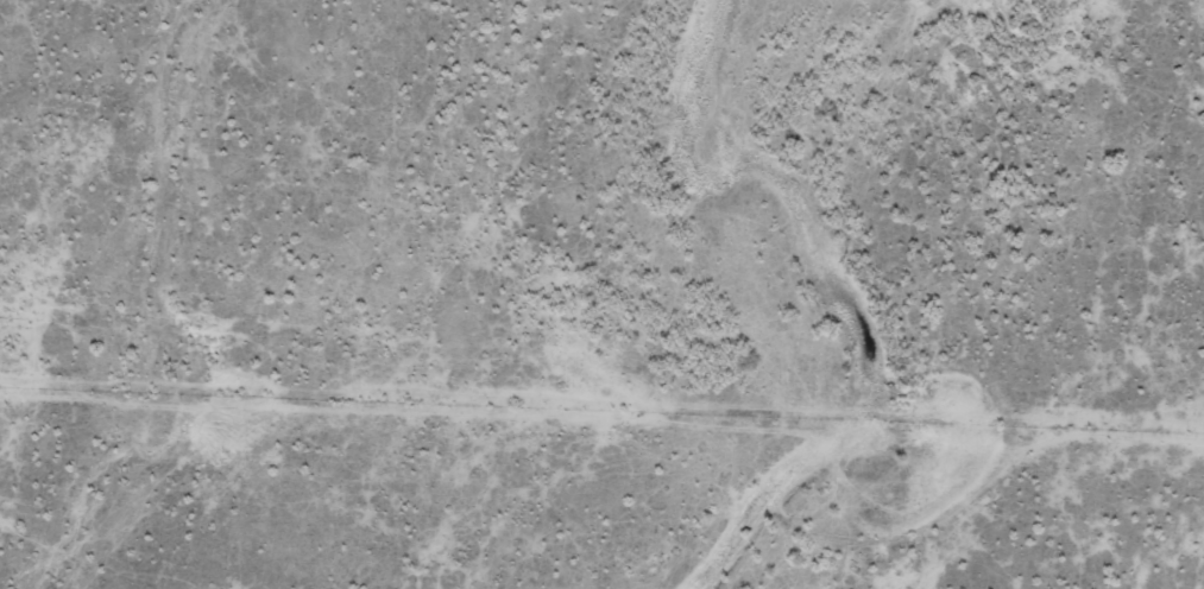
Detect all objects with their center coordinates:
road: (1160, 118)

